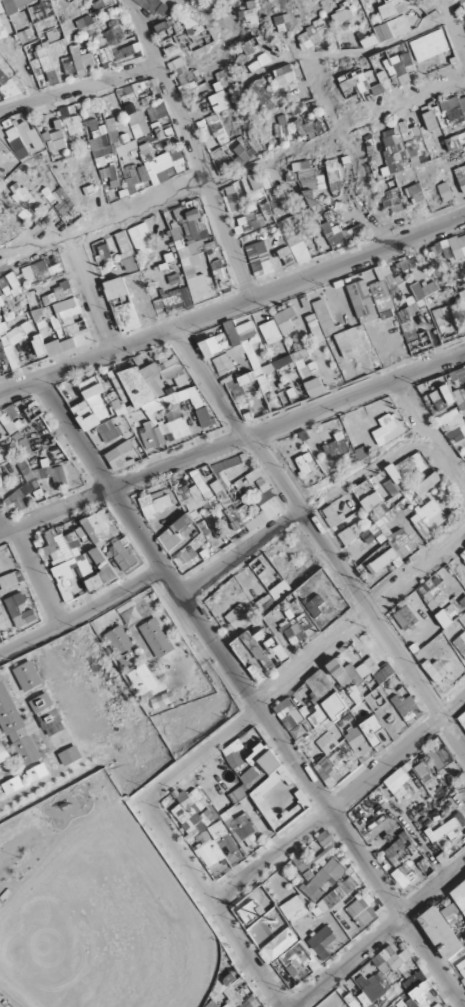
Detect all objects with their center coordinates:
road: (464, 52)
road: (340, 804)
park: (101, 925)
road: (378, 935)

